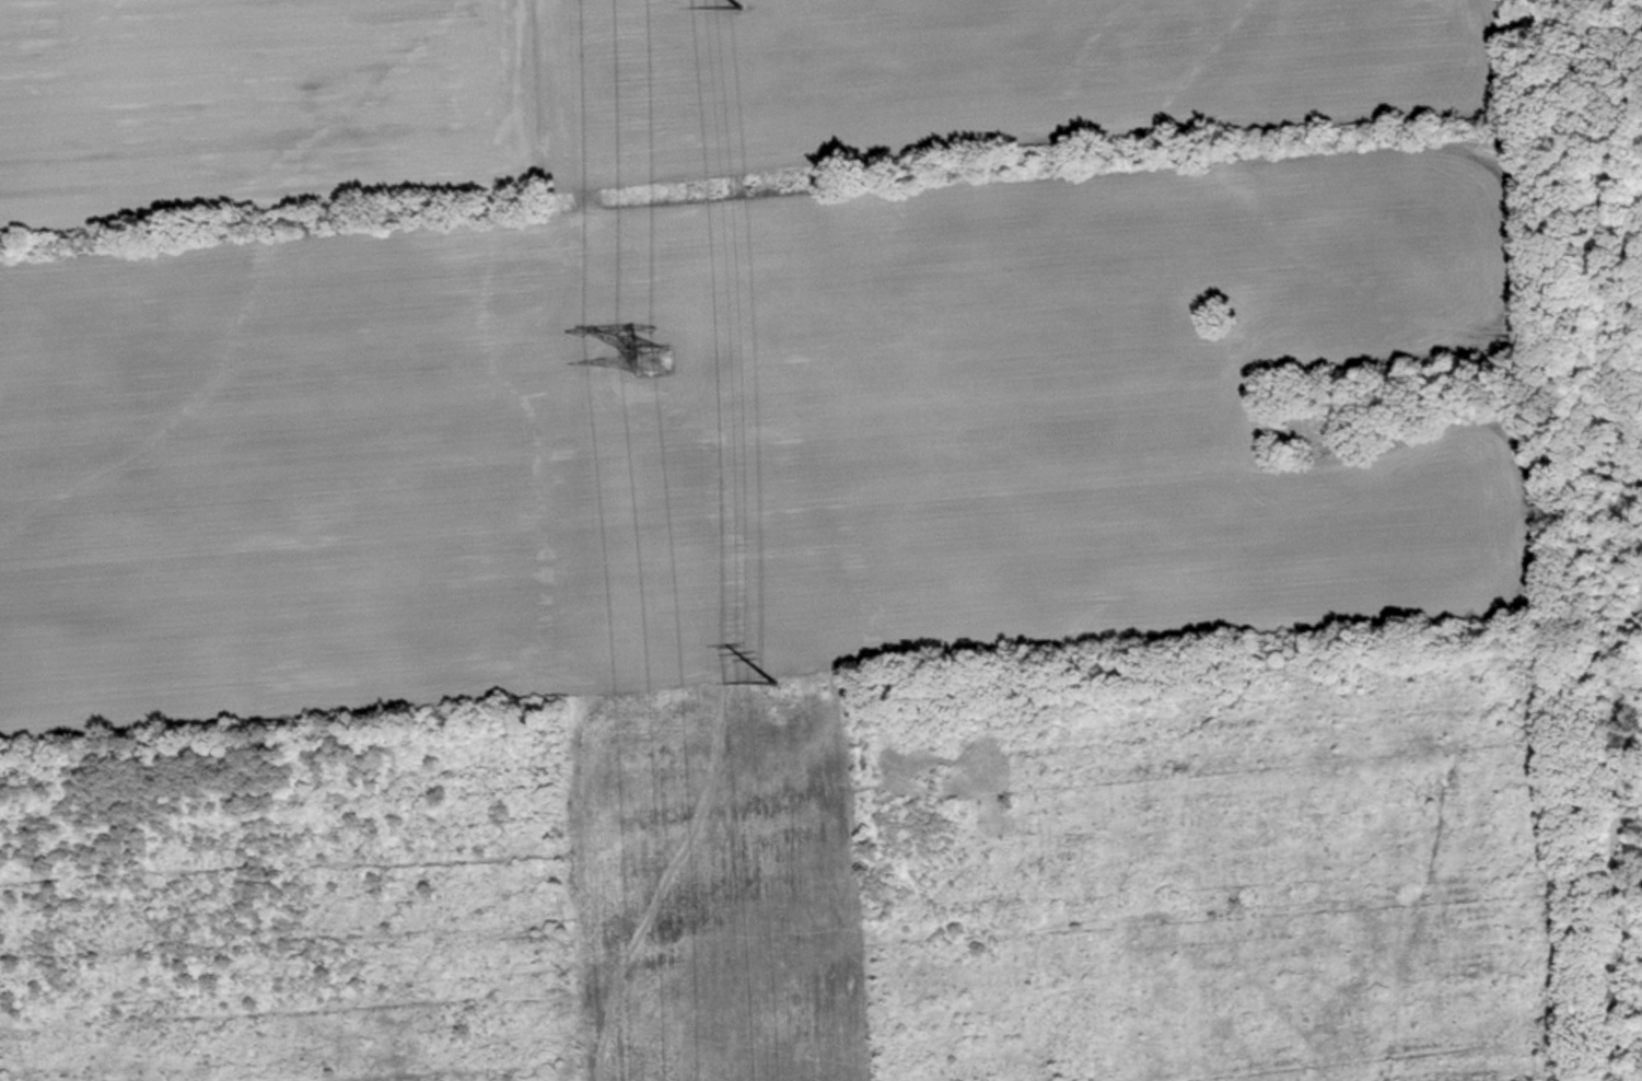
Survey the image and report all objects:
power tower: (747, 10)
power tower: (653, 362)
power tower: (775, 681)

